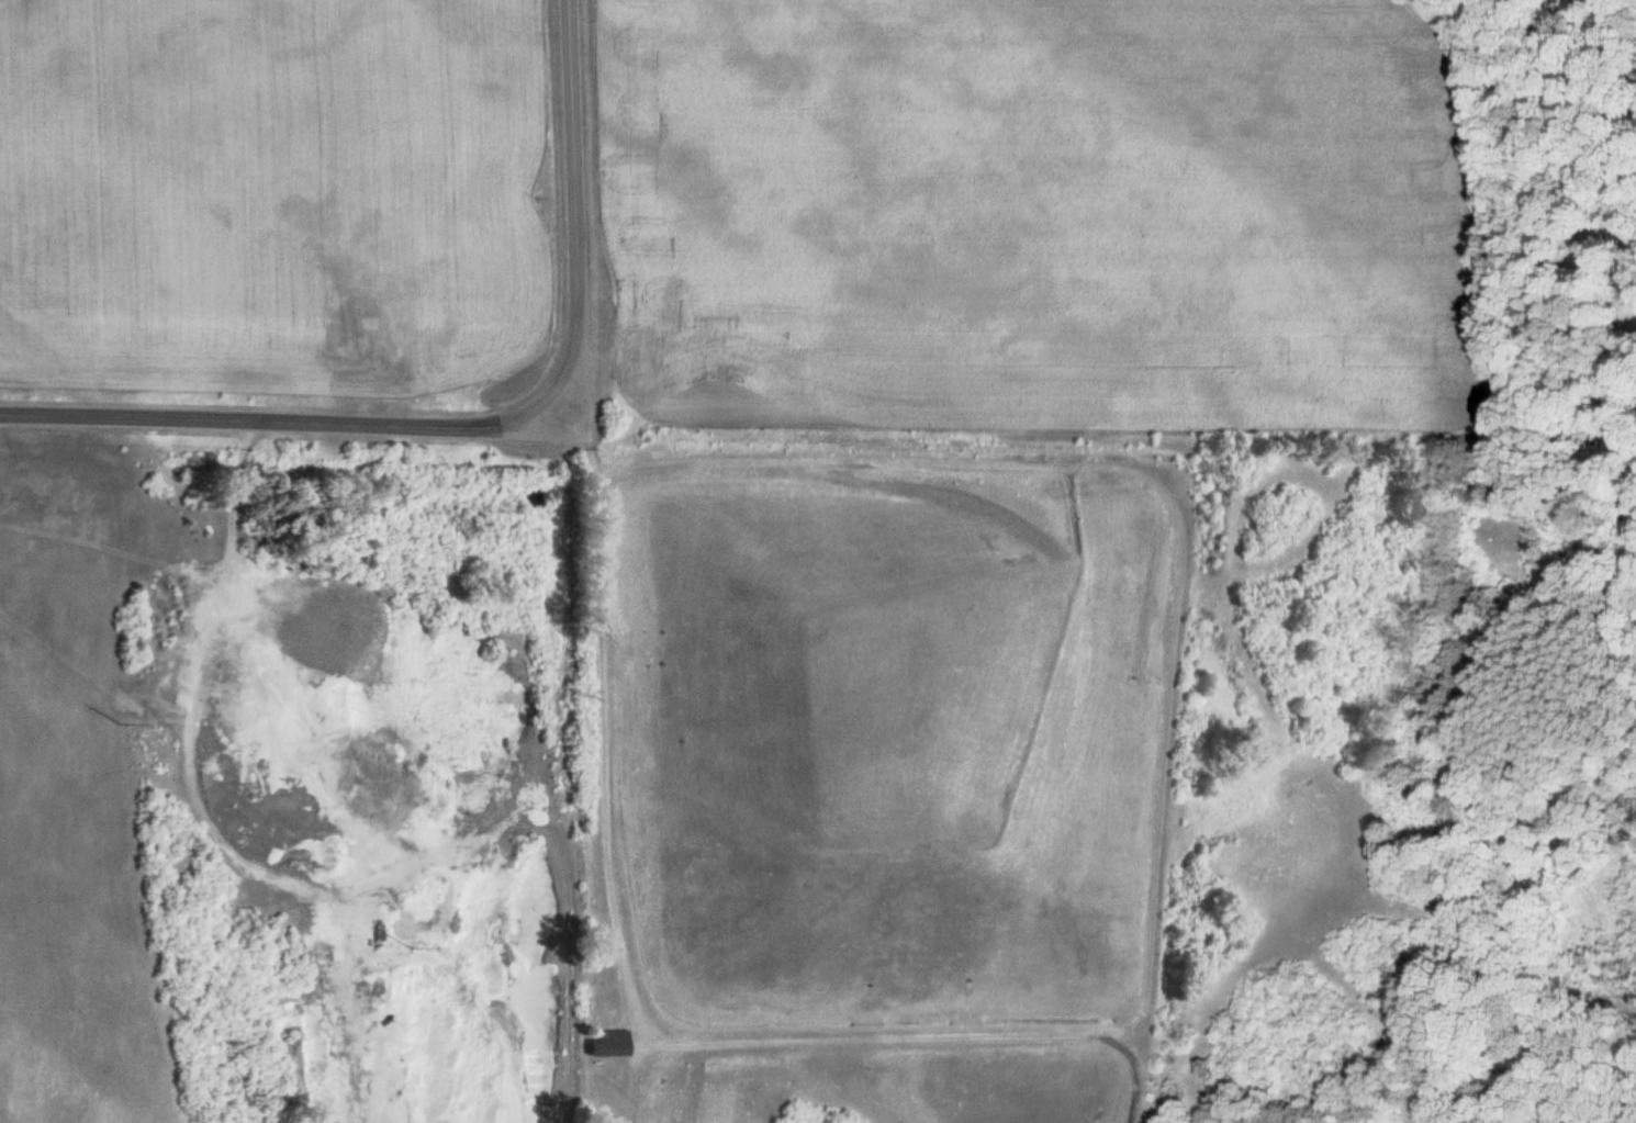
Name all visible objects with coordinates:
road: (482, 424)
road: (598, 743)
quarry: (347, 775)
park: (1092, 779)
building: (609, 1042)

